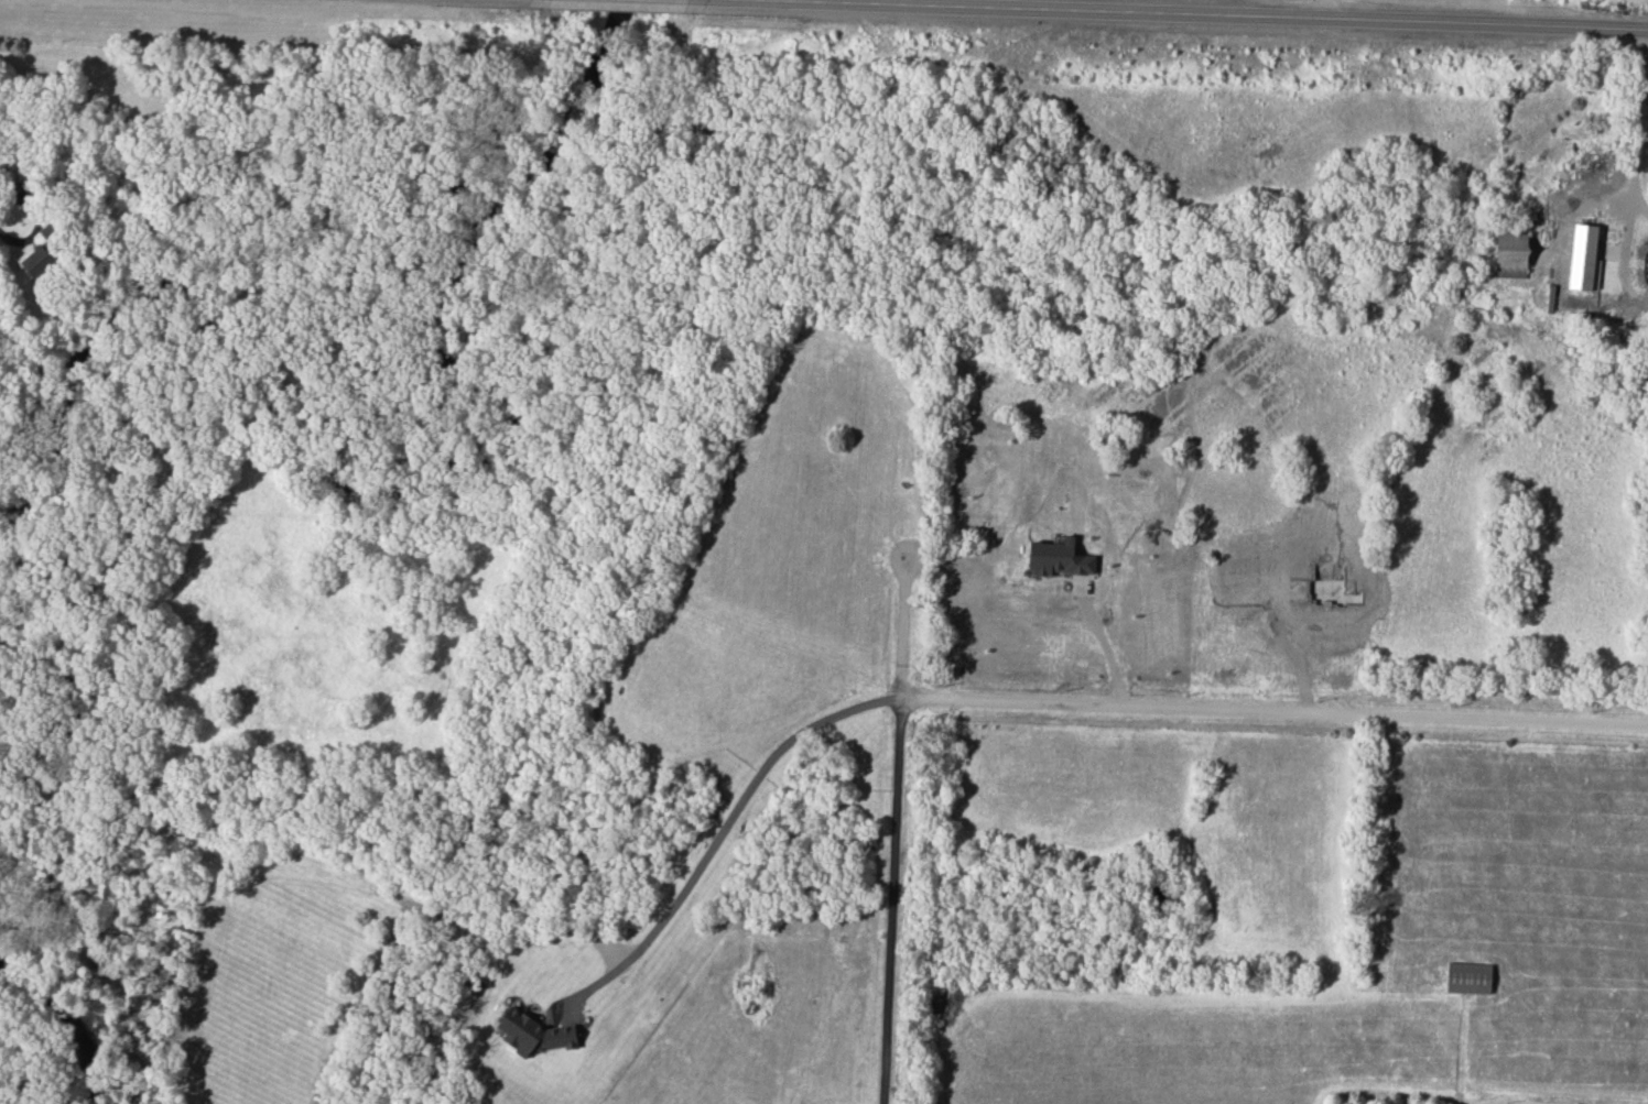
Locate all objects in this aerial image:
road: (1327, 9)
road: (1226, 14)
road: (1631, 134)
road: (41, 221)
building: (54, 230)
building: (1510, 255)
building: (1583, 259)
building: (39, 262)
building: (1058, 560)
road: (1106, 641)
road: (1044, 700)
road: (886, 901)
building: (1468, 977)
building: (534, 1034)

